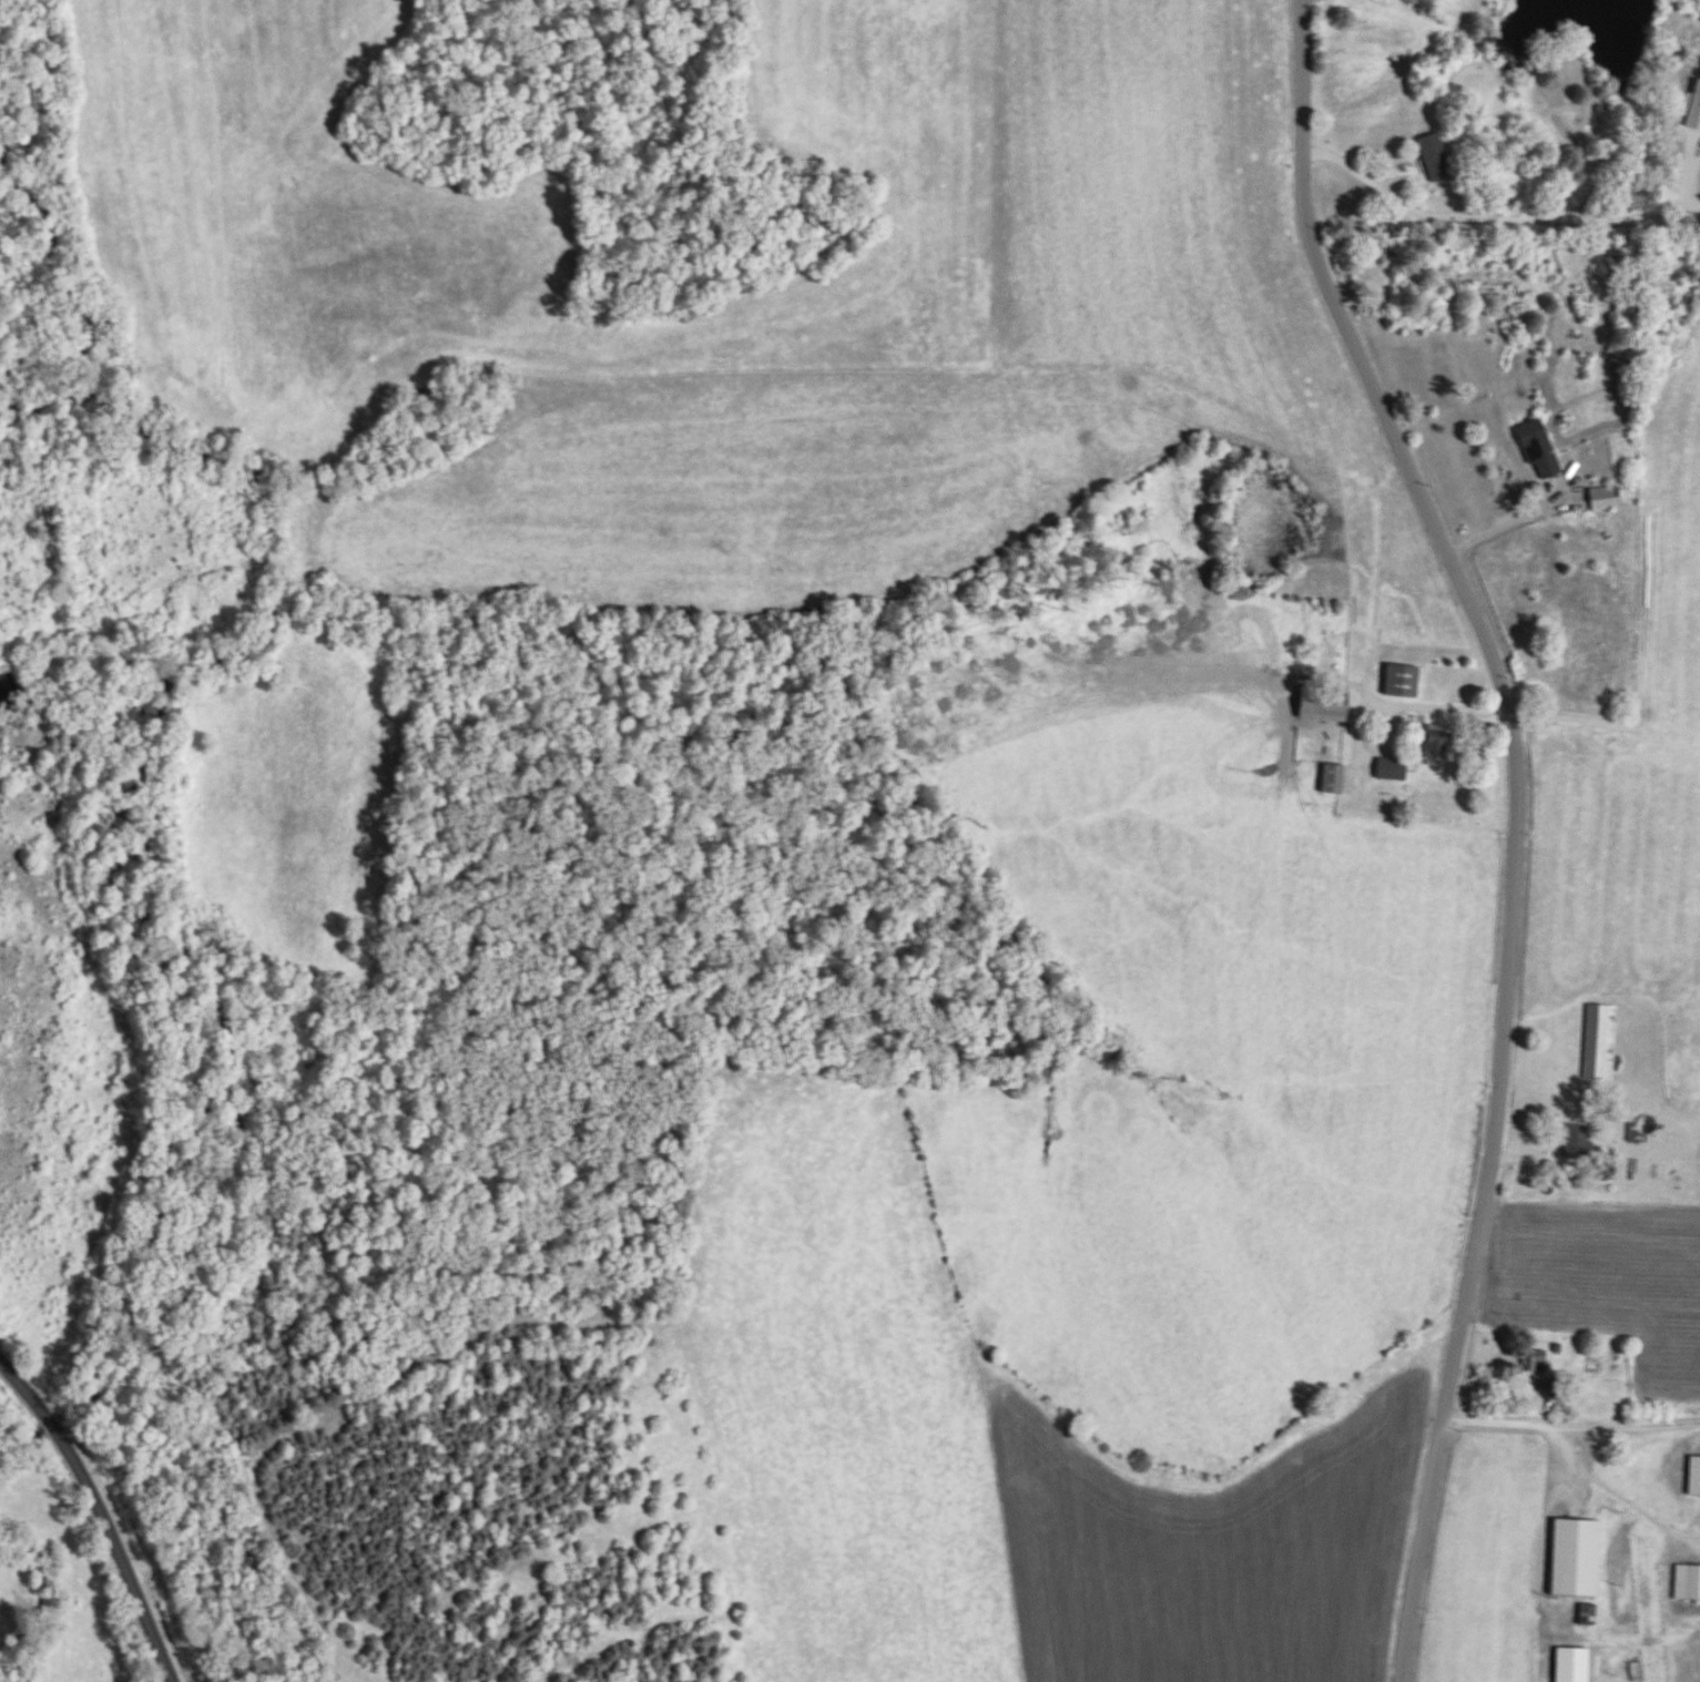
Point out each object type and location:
building: (1693, 108)
road: (1358, 175)
road: (1072, 373)
building: (1538, 451)
building: (1605, 500)
road: (1509, 526)
building: (1402, 683)
building: (1323, 705)
road: (1441, 707)
building: (1392, 771)
building: (1333, 781)
road: (1518, 824)
building: (1599, 1043)
road: (903, 1140)
building: (1575, 1142)
building: (1535, 1362)
road: (1570, 1426)
building: (1694, 1478)
road: (1629, 1500)
road: (101, 1515)
road: (1543, 1529)
building: (1575, 1559)
building: (1687, 1583)
building: (1571, 1665)

